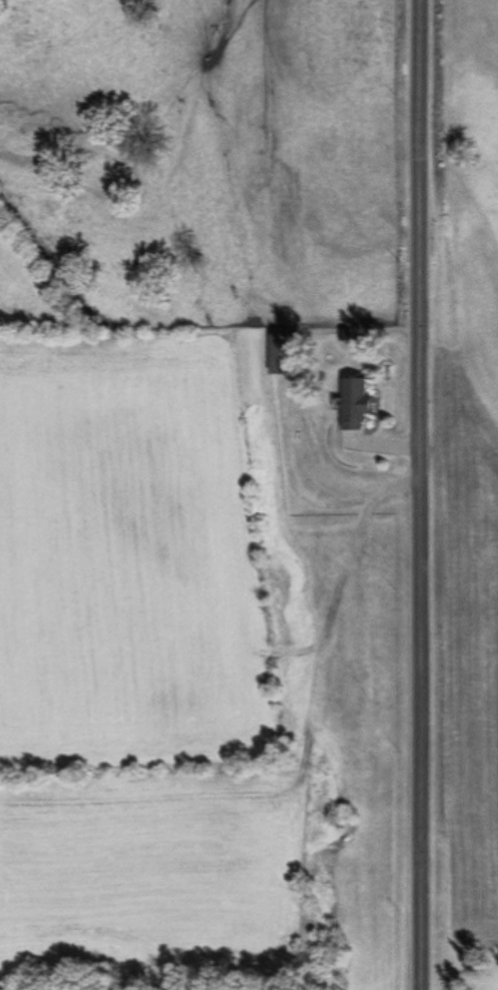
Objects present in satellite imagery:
building: (291, 354)
building: (362, 404)
road: (418, 495)

